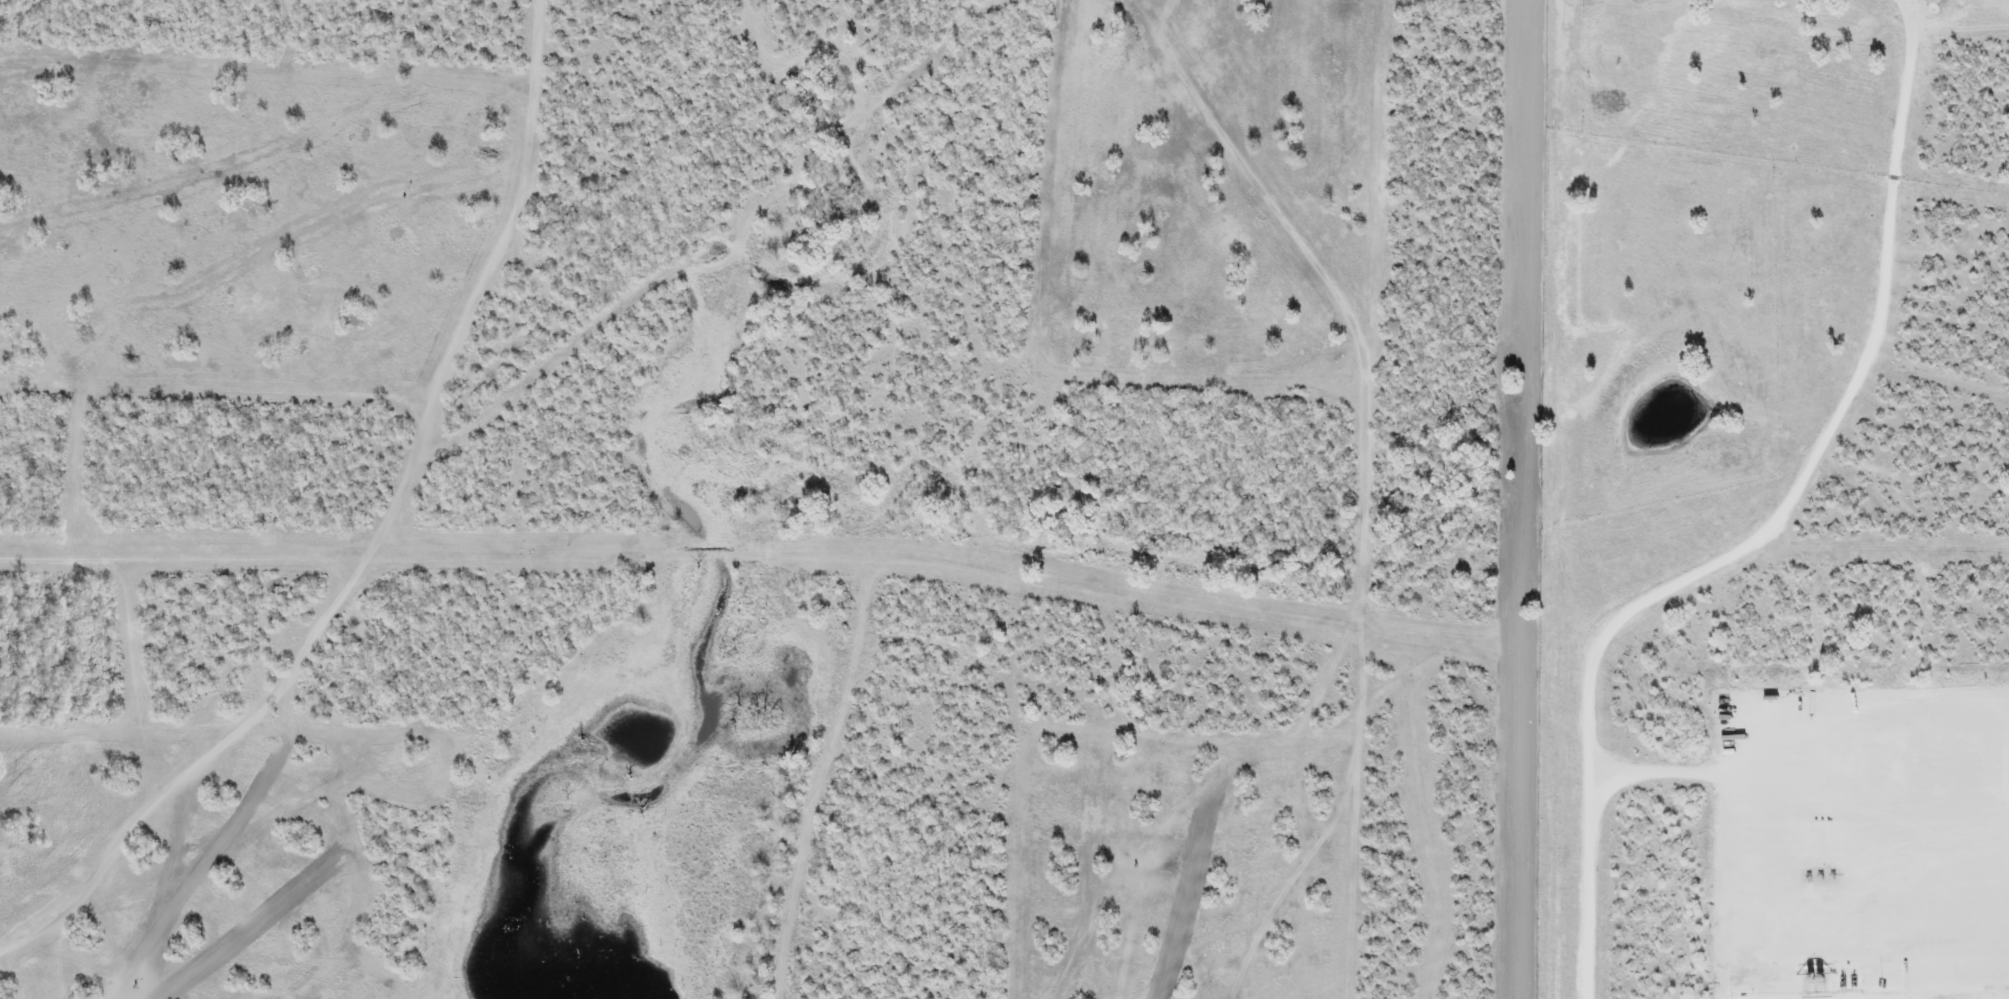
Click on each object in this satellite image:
road: (1765, 531)
road: (1719, 772)

